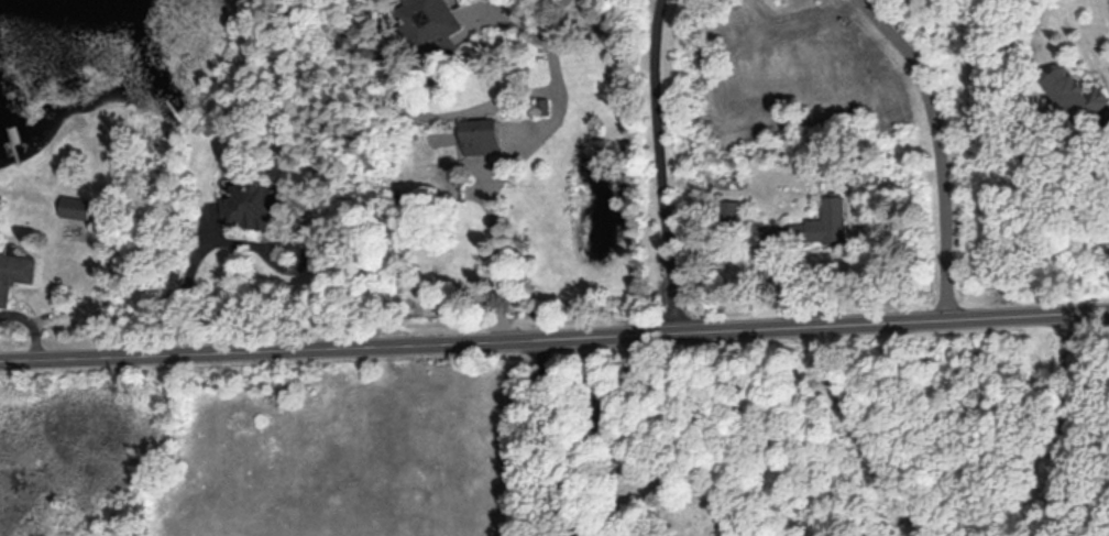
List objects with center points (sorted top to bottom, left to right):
building: (431, 20)
building: (1074, 92)
building: (481, 134)
road: (937, 146)
road: (661, 165)
building: (253, 205)
building: (78, 206)
building: (732, 211)
building: (810, 226)
road: (495, 251)
building: (15, 273)
road: (184, 284)
road: (554, 337)
road: (1057, 424)
road: (546, 437)

